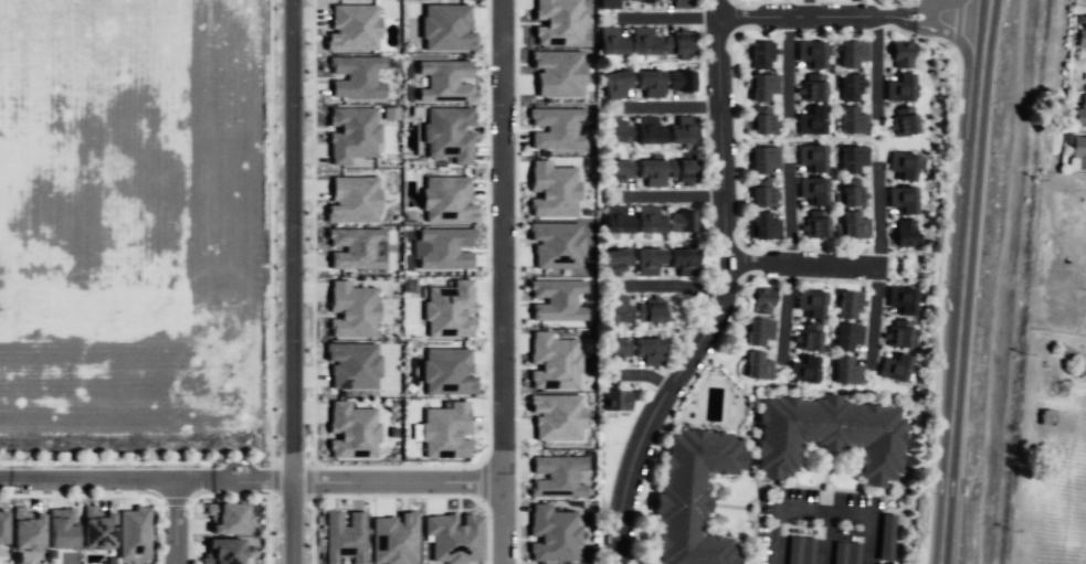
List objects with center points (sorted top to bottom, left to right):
building: (643, 0)
building: (644, 2)
road: (932, 2)
building: (607, 3)
building: (676, 3)
road: (808, 8)
road: (903, 10)
road: (804, 15)
road: (664, 17)
road: (904, 20)
building: (558, 22)
road: (956, 24)
building: (352, 26)
building: (445, 26)
road: (984, 33)
road: (952, 35)
building: (1080, 35)
building: (609, 41)
building: (639, 42)
building: (675, 46)
building: (757, 54)
building: (808, 54)
building: (847, 54)
building: (897, 58)
road: (876, 62)
road: (783, 66)
building: (557, 72)
building: (356, 76)
building: (444, 79)
building: (645, 81)
building: (678, 82)
building: (612, 85)
building: (760, 87)
building: (846, 87)
building: (896, 88)
building: (810, 89)
road: (978, 103)
road: (675, 110)
building: (1079, 115)
building: (757, 121)
building: (848, 121)
building: (808, 123)
building: (903, 124)
building: (556, 127)
building: (613, 131)
building: (351, 134)
building: (449, 134)
building: (644, 135)
building: (679, 137)
building: (1078, 153)
building: (809, 159)
building: (761, 160)
building: (848, 160)
building: (899, 166)
building: (612, 171)
building: (646, 171)
building: (681, 171)
building: (552, 189)
building: (811, 190)
building: (847, 194)
building: (760, 196)
road: (676, 198)
building: (352, 199)
building: (446, 199)
building: (899, 200)
road: (969, 204)
road: (787, 213)
building: (642, 220)
building: (612, 221)
building: (683, 222)
building: (760, 226)
building: (815, 226)
building: (852, 228)
road: (313, 231)
road: (270, 232)
road: (487, 232)
building: (905, 234)
building: (556, 244)
building: (356, 247)
building: (444, 247)
building: (644, 260)
building: (681, 260)
building: (613, 262)
road: (804, 262)
road: (879, 266)
road: (292, 281)
road: (500, 281)
road: (515, 281)
road: (675, 284)
road: (724, 294)
building: (556, 299)
building: (756, 300)
building: (897, 302)
building: (808, 304)
building: (847, 305)
building: (351, 309)
building: (447, 309)
road: (784, 310)
building: (612, 312)
building: (646, 316)
building: (756, 332)
building: (897, 334)
building: (844, 337)
building: (804, 341)
building: (612, 351)
building: (644, 353)
building: (552, 361)
building: (351, 364)
building: (753, 368)
building: (890, 370)
building: (446, 371)
building: (800, 371)
building: (842, 373)
road: (650, 374)
building: (612, 402)
road: (951, 415)
building: (556, 416)
building: (351, 430)
building: (444, 430)
building: (825, 436)
road: (238, 462)
road: (394, 466)
building: (556, 476)
road: (273, 478)
road: (309, 480)
road: (105, 481)
road: (356, 481)
road: (481, 482)
road: (81, 494)
road: (245, 494)
road: (201, 496)
road: (394, 496)
building: (687, 497)
road: (175, 501)
building: (226, 517)
road: (818, 519)
road: (176, 522)
building: (2, 526)
building: (61, 528)
building: (96, 528)
parking lot: (823, 528)
building: (27, 529)
road: (188, 530)
building: (134, 531)
road: (160, 531)
road: (270, 531)
road: (312, 531)
road: (487, 531)
building: (552, 533)
building: (344, 535)
building: (884, 535)
building: (453, 538)
building: (393, 539)
road: (823, 542)
building: (222, 551)
building: (798, 551)
building: (845, 553)
building: (875, 563)

